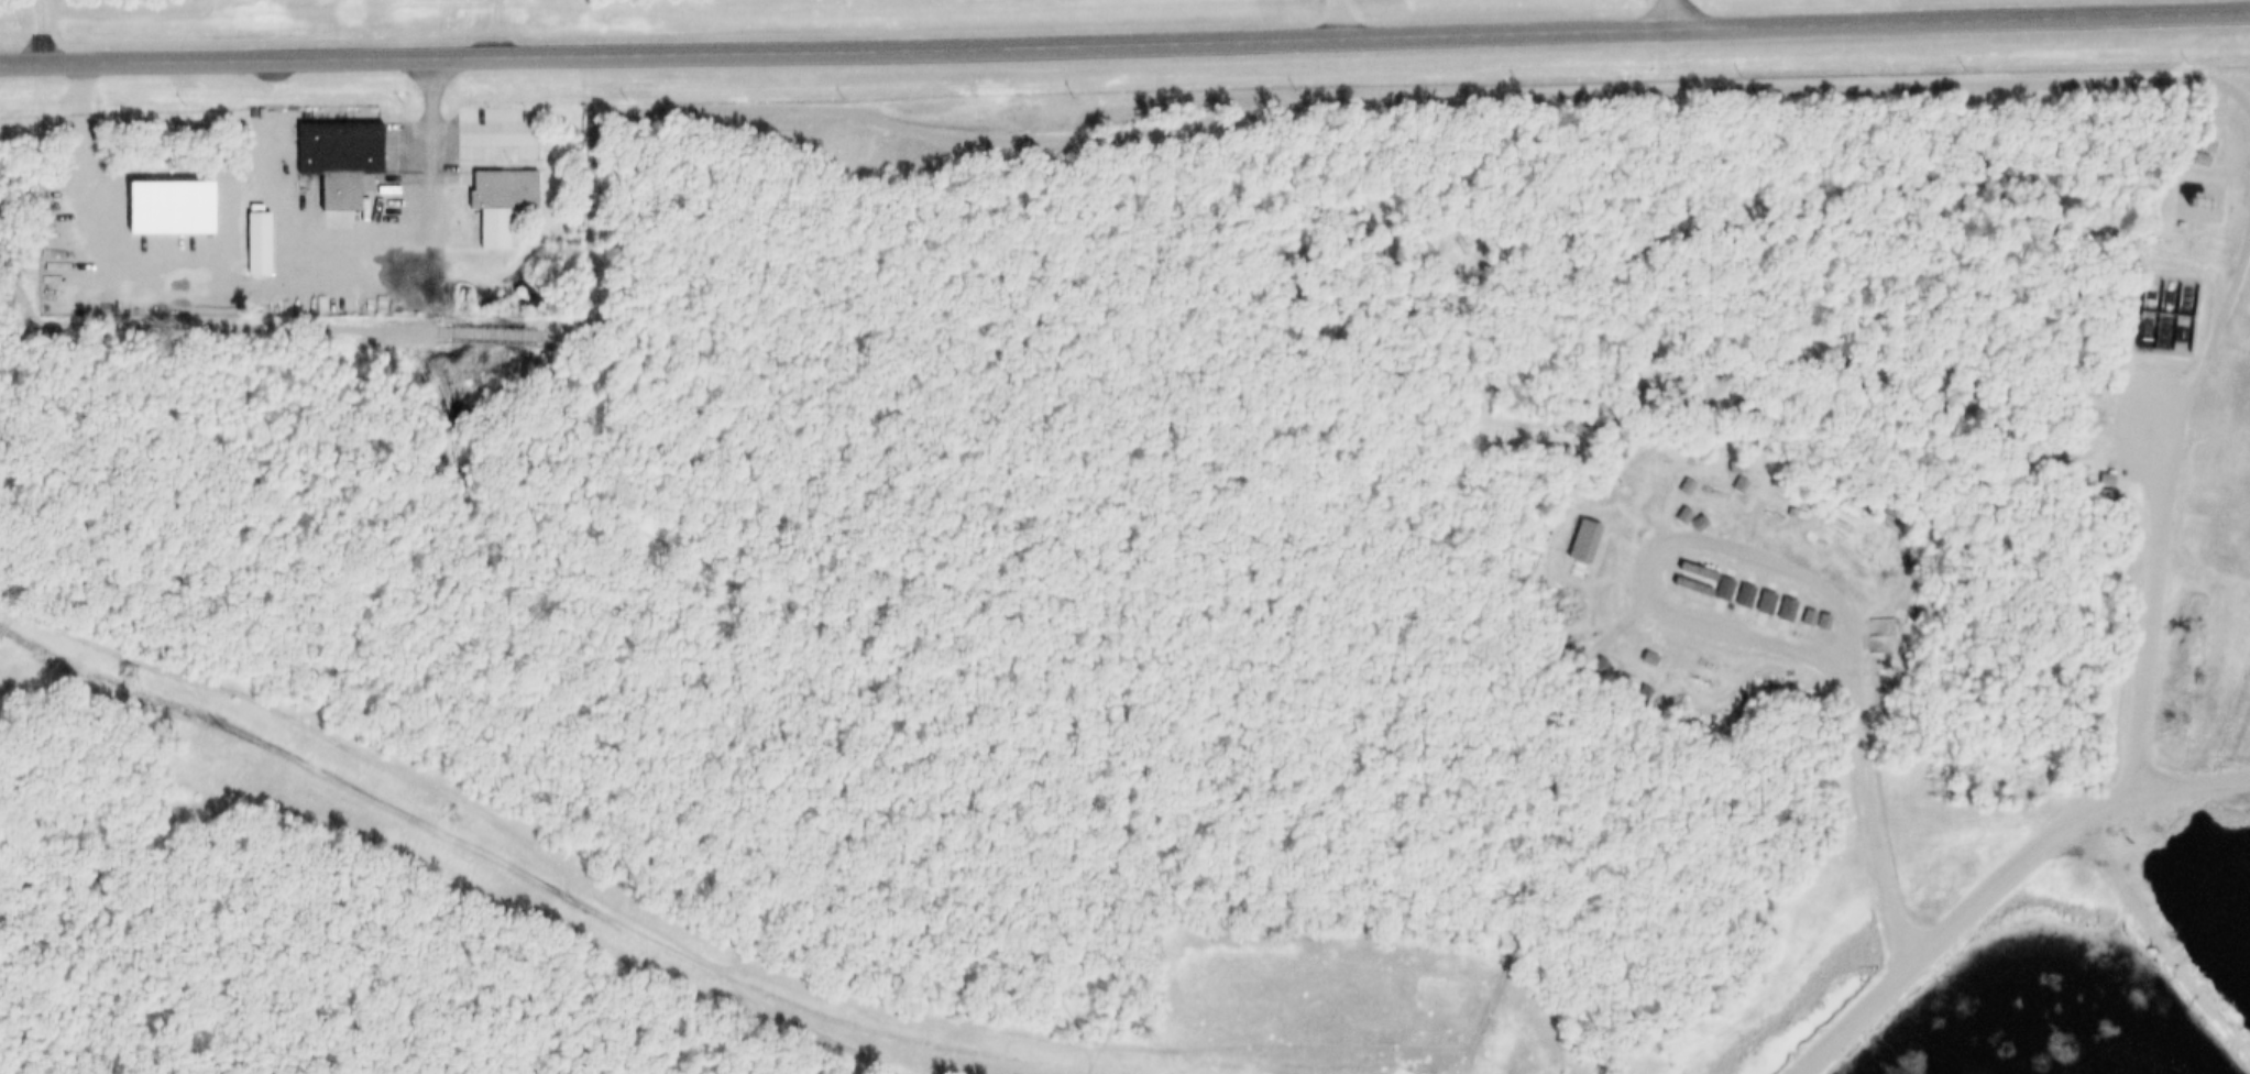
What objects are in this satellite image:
road: (1678, 13)
road: (1124, 40)
building: (331, 146)
building: (495, 200)
building: (2189, 200)
building: (2199, 201)
building: (2172, 223)
building: (250, 242)
building: (2097, 478)
building: (1657, 479)
building: (1682, 480)
building: (1738, 482)
building: (1613, 489)
building: (2096, 493)
building: (2106, 498)
building: (1574, 539)
building: (1585, 544)
building: (1689, 566)
building: (1695, 581)
road: (2153, 588)
building: (1712, 593)
building: (1746, 598)
building: (1731, 600)
building: (1767, 605)
building: (1753, 606)
building: (1774, 613)
building: (1793, 615)
road: (1747, 633)
building: (1638, 692)
road: (2000, 883)

